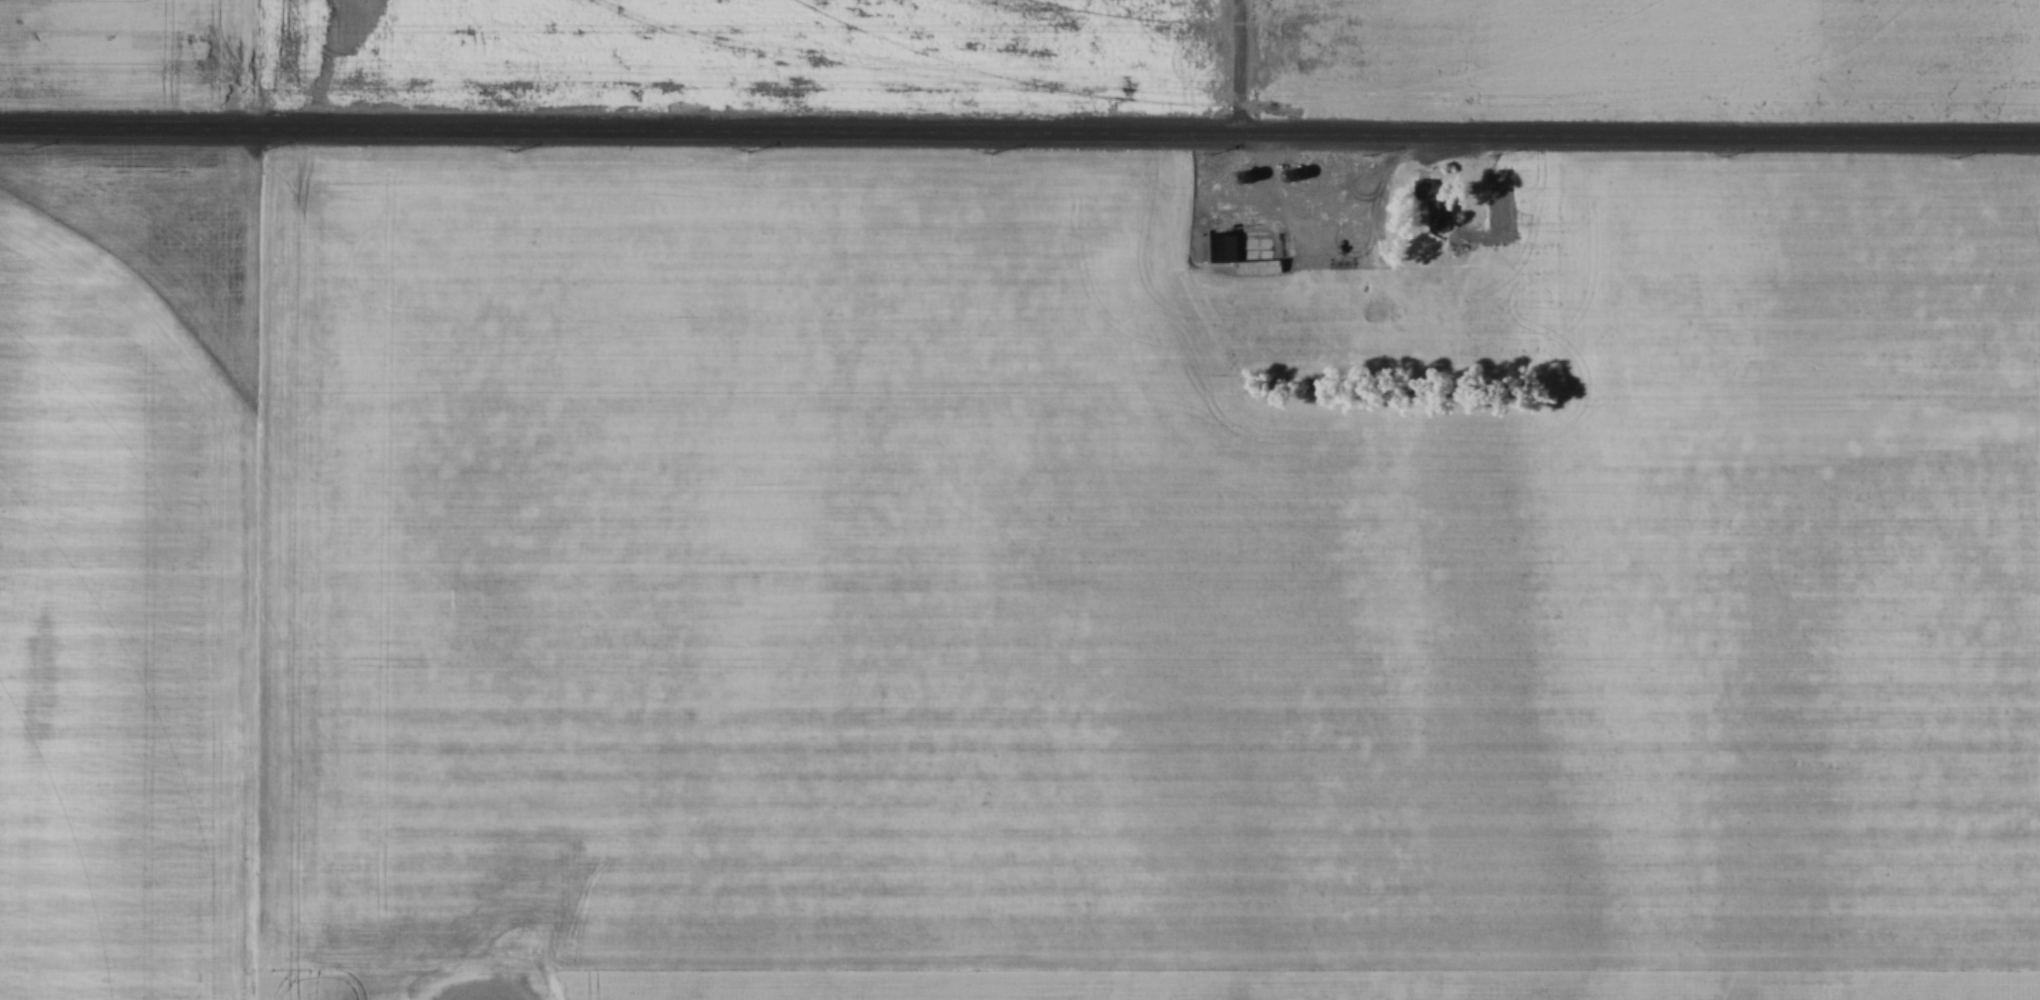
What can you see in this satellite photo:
road: (1019, 133)
building: (1245, 175)
building: (1424, 188)
building: (1442, 205)
building: (1218, 247)
building: (1398, 309)

